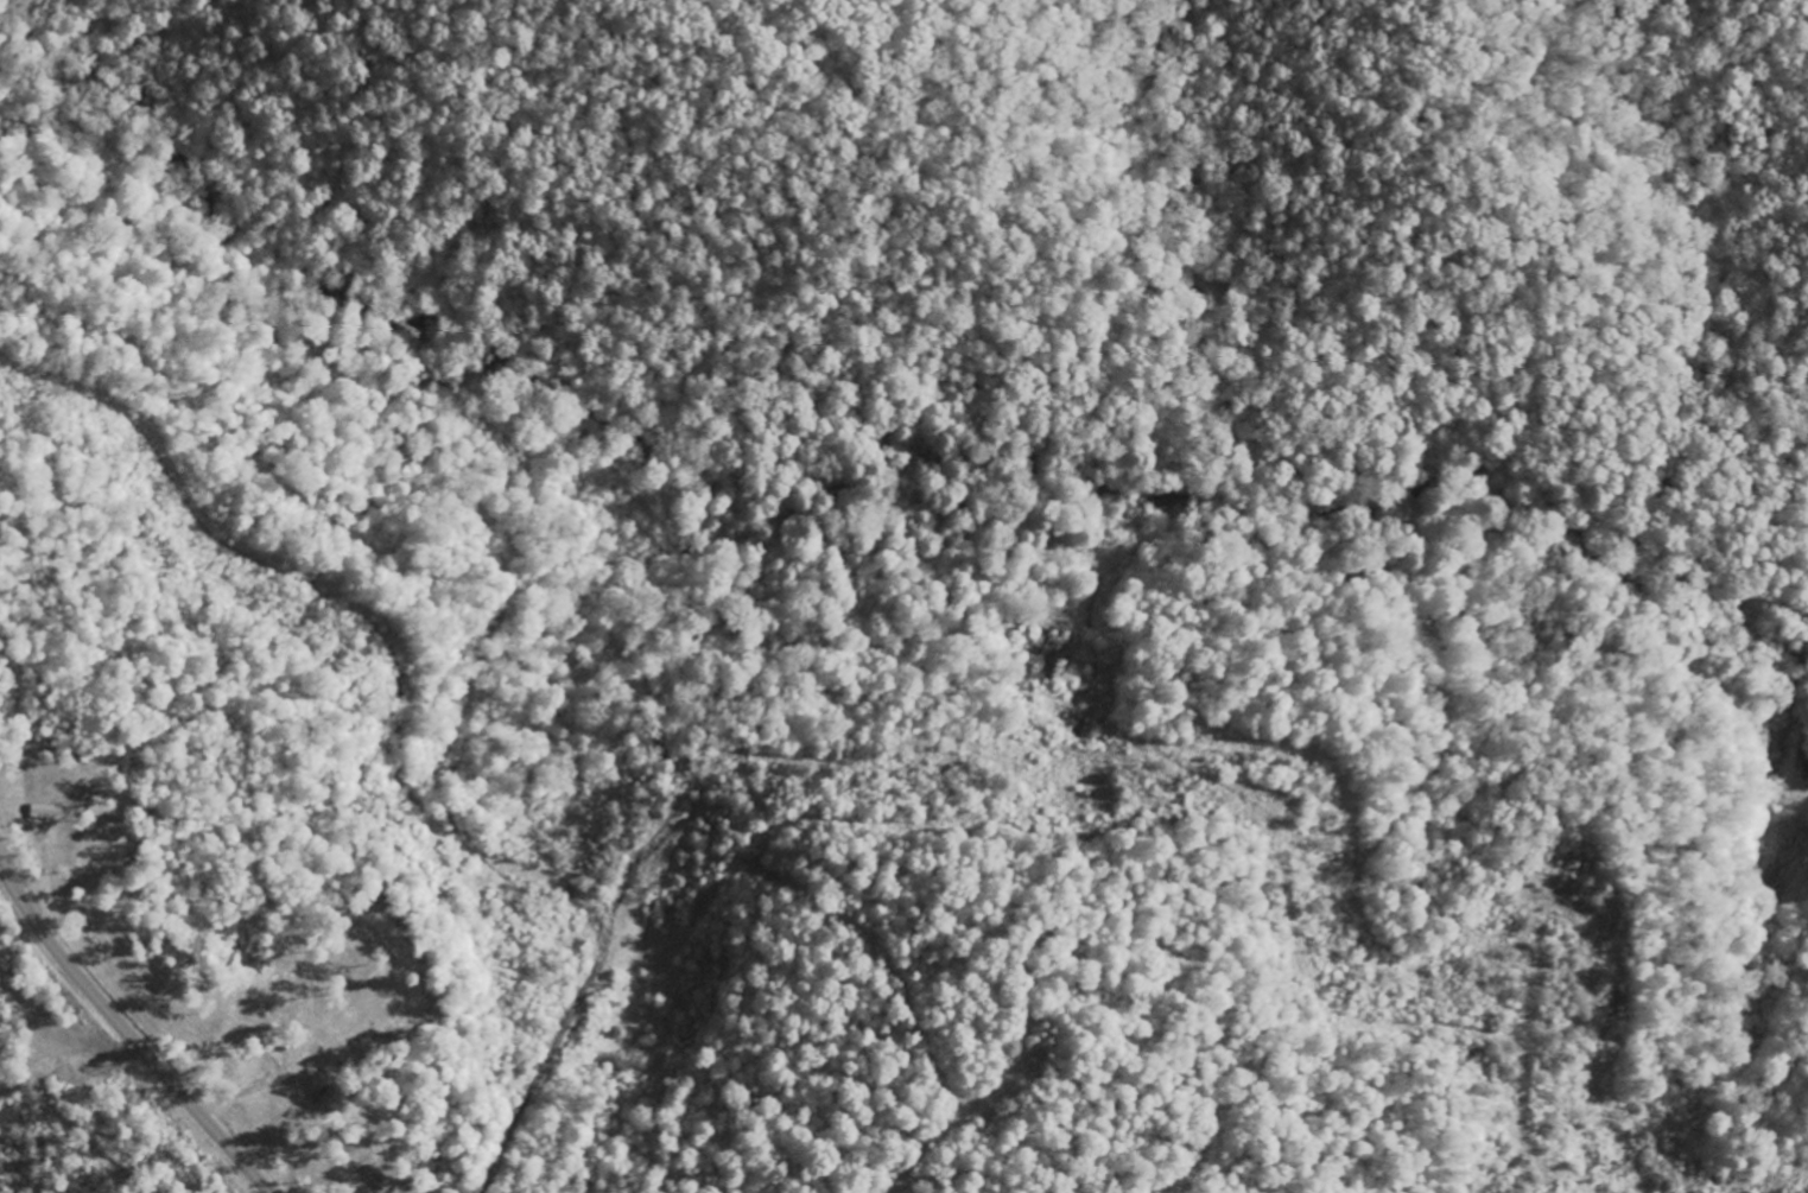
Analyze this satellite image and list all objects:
building: (40, 811)
road: (127, 1030)
road: (55, 1037)
building: (303, 1065)

